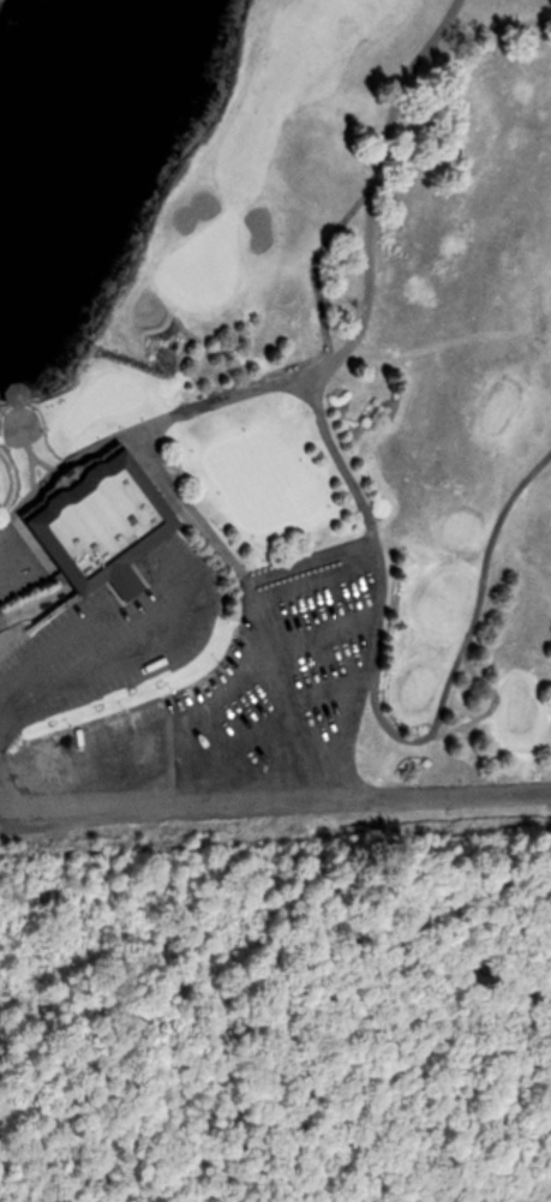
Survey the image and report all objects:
park: (199, 269)
road: (366, 274)
building: (20, 395)
park: (274, 414)
building: (103, 521)
road: (11, 566)
road: (463, 639)
road: (311, 740)
road: (22, 781)
road: (457, 795)
road: (182, 818)
park: (279, 1015)

